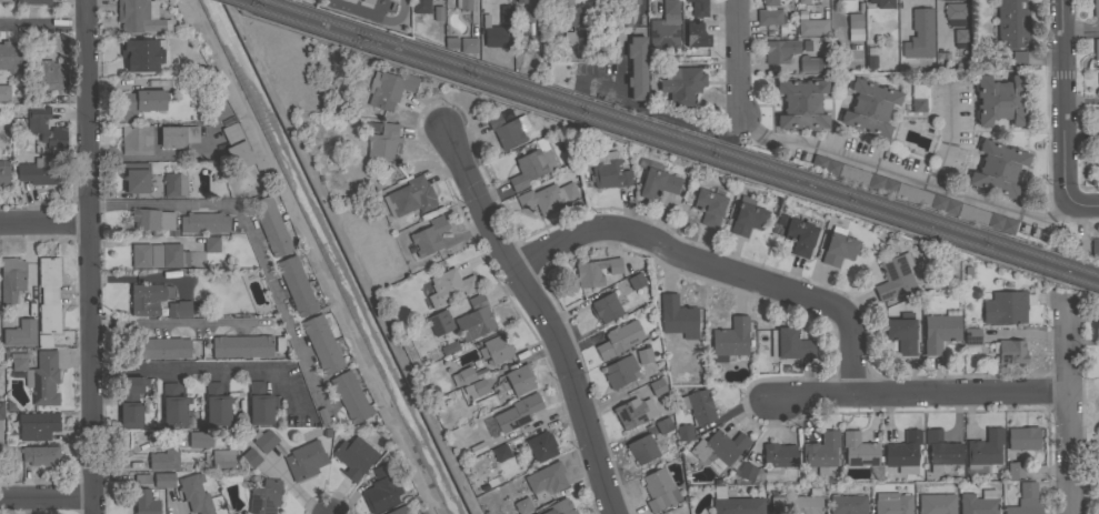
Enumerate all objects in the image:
building: (4, 0)
building: (841, 0)
building: (953, 0)
building: (32, 1)
building: (520, 1)
building: (553, 1)
building: (605, 1)
building: (627, 1)
building: (768, 2)
building: (801, 2)
building: (882, 3)
building: (462, 4)
building: (420, 6)
building: (788, 6)
building: (698, 7)
building: (1096, 8)
building: (540, 12)
building: (504, 13)
building: (433, 14)
building: (800, 14)
building: (955, 14)
building: (138, 16)
building: (570, 16)
road: (396, 17)
building: (768, 18)
building: (625, 19)
building: (852, 22)
building: (1011, 23)
road: (43, 24)
building: (665, 27)
building: (810, 28)
building: (494, 33)
road: (1080, 33)
building: (695, 34)
building: (919, 34)
building: (591, 37)
building: (571, 38)
building: (959, 39)
building: (468, 44)
building: (1096, 49)
building: (775, 52)
building: (141, 54)
building: (10, 56)
road: (738, 57)
building: (869, 57)
building: (1018, 59)
building: (809, 63)
building: (656, 65)
building: (636, 67)
building: (42, 74)
building: (1098, 82)
building: (683, 84)
building: (387, 90)
building: (4, 92)
road: (1063, 99)
building: (1000, 100)
building: (140, 103)
building: (801, 103)
building: (918, 104)
building: (868, 108)
road: (656, 111)
building: (1097, 123)
building: (47, 130)
building: (507, 130)
building: (178, 135)
railway: (685, 137)
building: (136, 139)
building: (382, 141)
railway: (669, 141)
building: (234, 145)
road: (158, 155)
road: (879, 163)
building: (531, 164)
building: (823, 165)
building: (1097, 165)
building: (996, 169)
building: (38, 170)
building: (606, 171)
building: (3, 173)
building: (852, 175)
building: (134, 177)
building: (655, 181)
building: (173, 184)
building: (880, 184)
building: (911, 194)
building: (547, 196)
building: (409, 198)
road: (1083, 202)
building: (709, 205)
building: (943, 205)
building: (971, 214)
building: (747, 216)
road: (44, 219)
building: (151, 219)
building: (204, 222)
building: (1000, 224)
building: (270, 225)
road: (251, 231)
building: (798, 234)
building: (427, 236)
building: (210, 243)
building: (838, 246)
building: (1095, 246)
building: (140, 254)
building: (156, 254)
building: (173, 255)
road: (313, 255)
road: (89, 256)
road: (713, 263)
building: (596, 271)
building: (895, 276)
building: (11, 279)
building: (636, 280)
building: (296, 285)
building: (448, 286)
building: (48, 293)
building: (146, 298)
building: (606, 306)
building: (1005, 306)
building: (179, 308)
road: (538, 316)
building: (678, 316)
building: (474, 319)
road: (177, 322)
building: (440, 322)
building: (940, 330)
building: (901, 332)
building: (19, 334)
building: (971, 335)
building: (730, 339)
building: (44, 340)
building: (619, 340)
road: (580, 342)
building: (321, 343)
building: (788, 344)
building: (241, 345)
building: (160, 346)
building: (448, 347)
building: (496, 349)
building: (1009, 351)
building: (643, 355)
road: (206, 370)
building: (620, 371)
building: (38, 376)
building: (461, 376)
building: (519, 379)
building: (478, 386)
building: (657, 386)
road: (919, 392)
building: (497, 395)
building: (350, 396)
building: (130, 401)
building: (1098, 402)
building: (260, 403)
building: (217, 404)
building: (173, 405)
building: (700, 405)
road: (1067, 405)
building: (1, 410)
building: (633, 411)
building: (516, 413)
building: (321, 417)
building: (663, 424)
building: (37, 425)
building: (683, 432)
building: (200, 439)
building: (1020, 439)
building: (263, 441)
road: (1083, 445)
building: (540, 446)
building: (646, 447)
building: (476, 449)
building: (718, 449)
building: (859, 449)
building: (940, 450)
building: (821, 451)
building: (499, 452)
building: (982, 452)
building: (902, 453)
building: (39, 455)
building: (352, 456)
building: (778, 456)
building: (222, 457)
building: (249, 458)
building: (162, 460)
building: (304, 460)
building: (1015, 470)
building: (743, 471)
building: (140, 480)
building: (546, 480)
building: (162, 481)
building: (659, 488)
building: (380, 490)
building: (193, 494)
building: (264, 496)
road: (47, 500)
building: (1098, 500)
building: (1025, 501)
building: (143, 502)
building: (891, 503)
building: (977, 503)
building: (733, 504)
building: (796, 504)
building: (848, 504)
building: (935, 504)
building: (521, 506)
road: (176, 507)
building: (557, 507)
building: (398, 510)
building: (421, 513)

